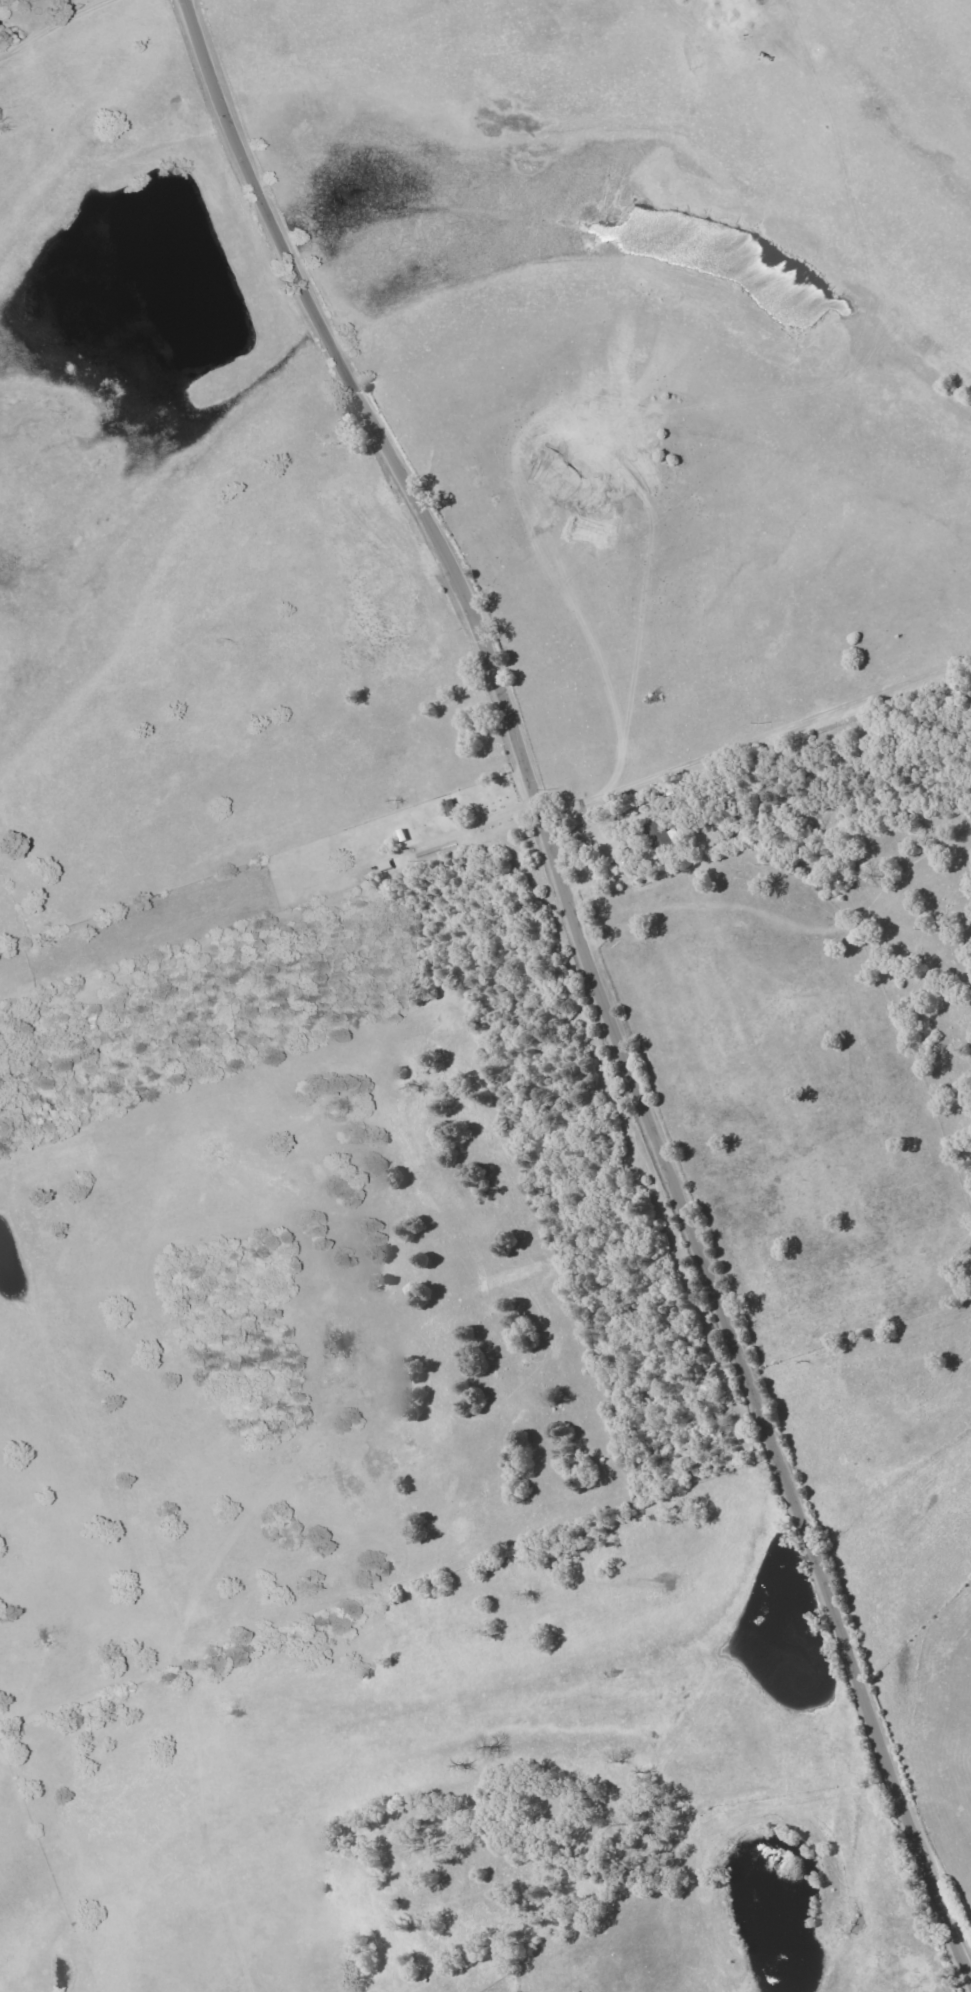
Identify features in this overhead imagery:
road: (57, 27)
road: (696, 495)
road: (722, 750)
road: (463, 828)
road: (594, 980)

